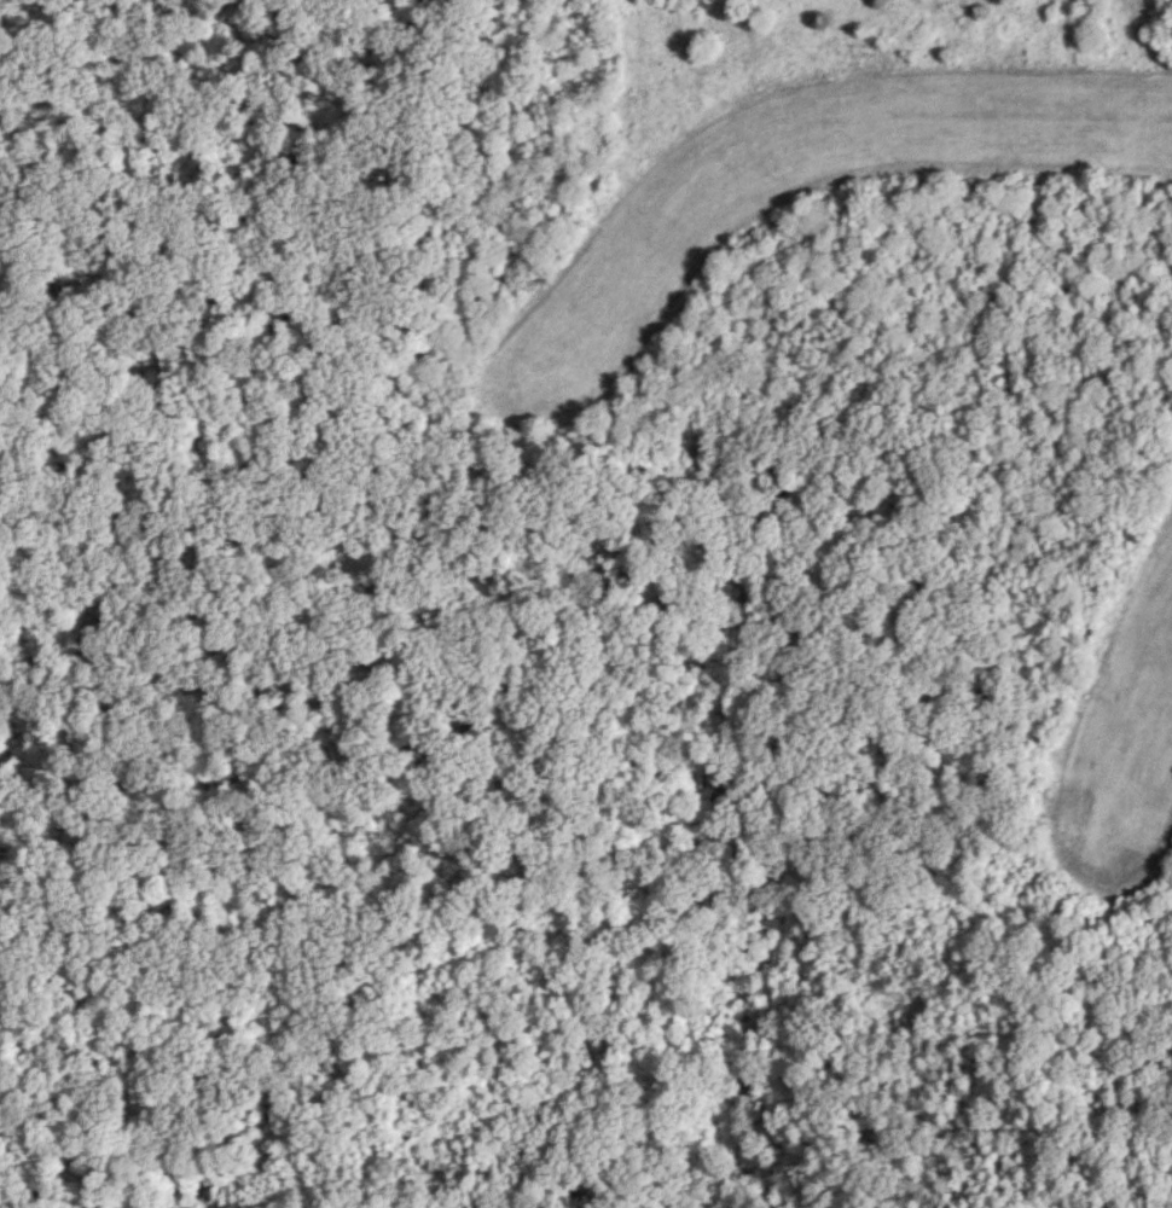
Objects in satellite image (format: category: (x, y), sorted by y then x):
road: (1031, 66)
road: (719, 534)
road: (1000, 1137)
road: (930, 1148)

